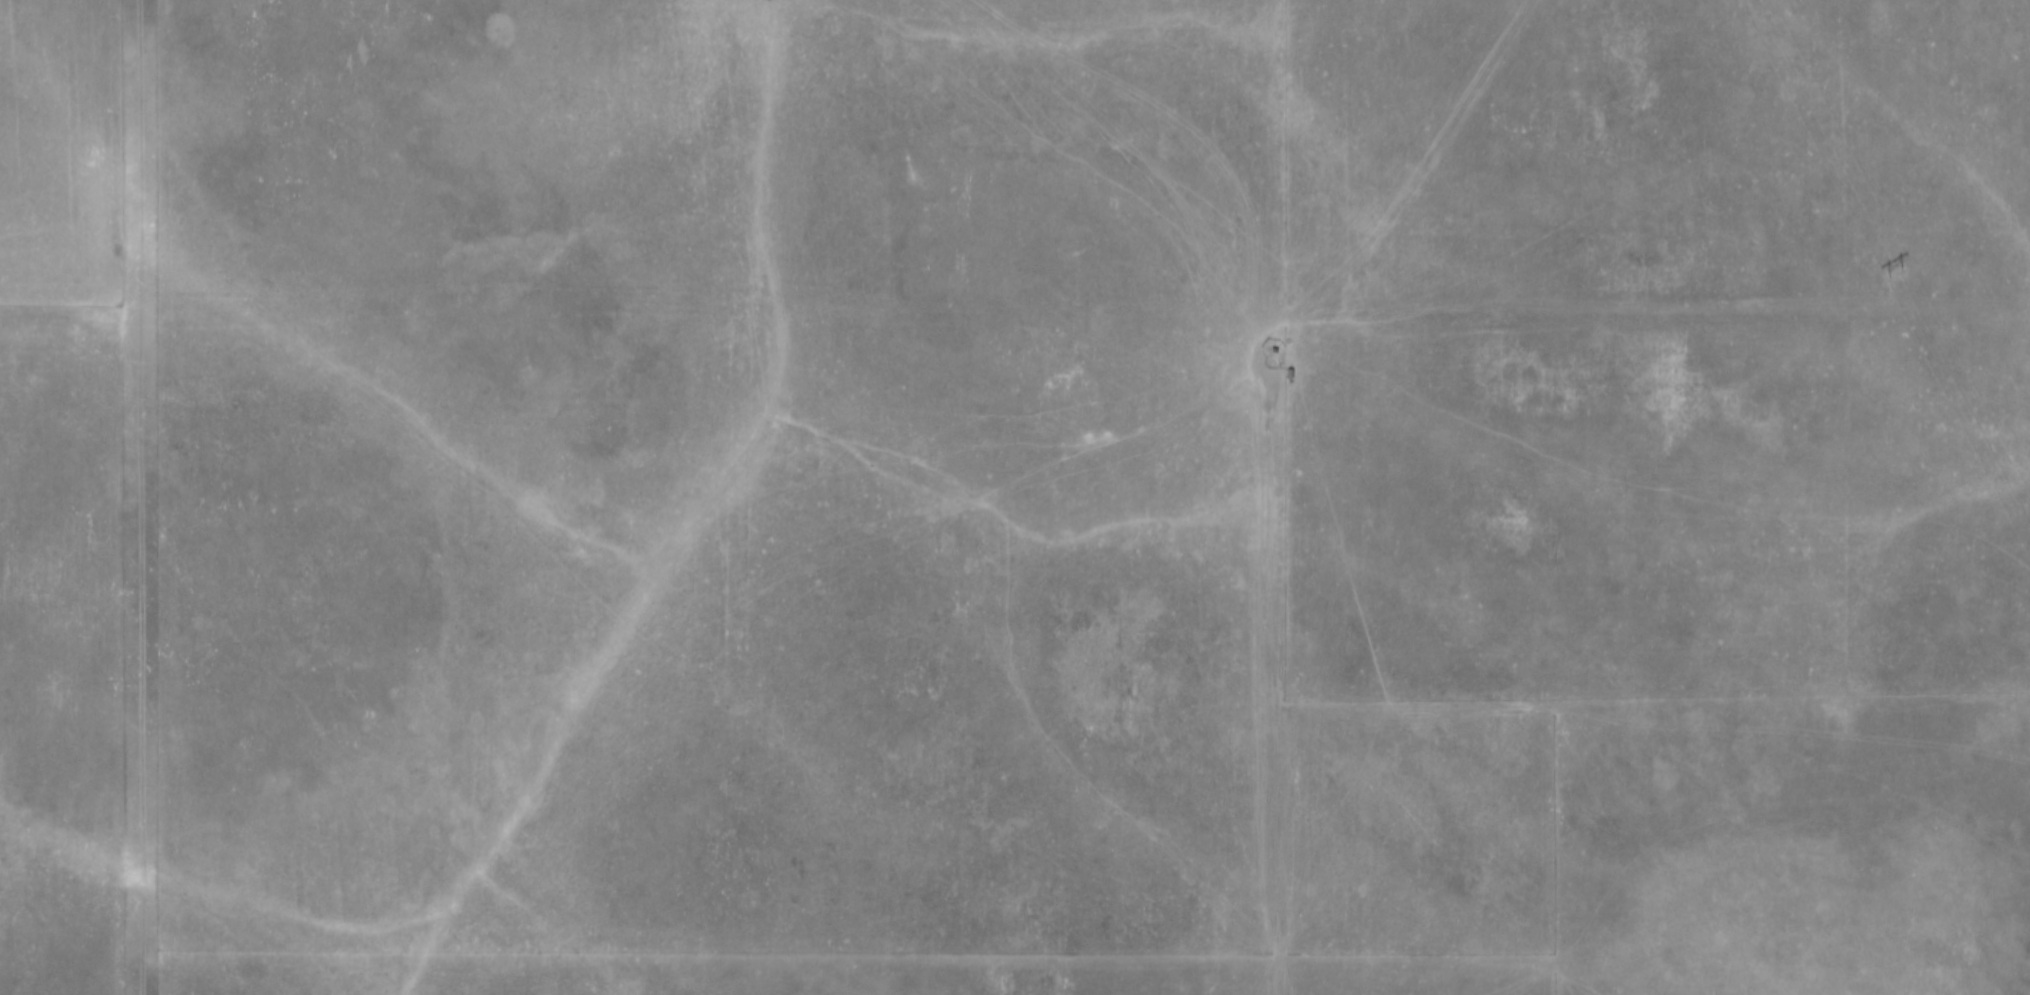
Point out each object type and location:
power tower: (1892, 275)

